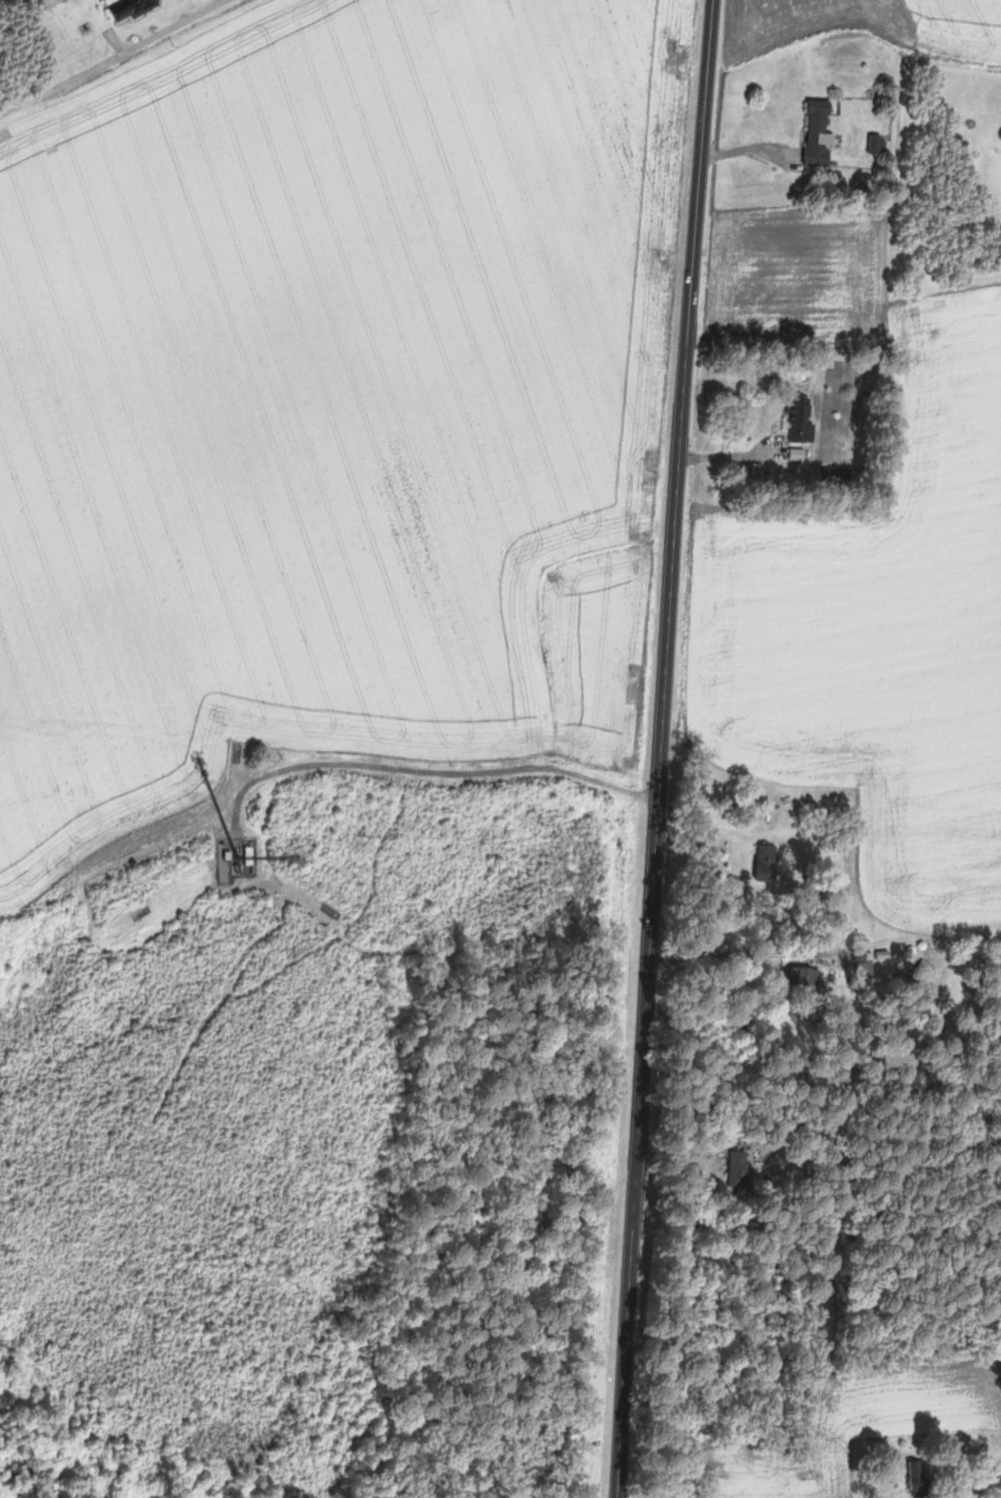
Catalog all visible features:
building: (55, 2)
building: (129, 8)
road: (120, 59)
building: (821, 134)
building: (877, 144)
road: (745, 149)
building: (803, 418)
building: (843, 476)
road: (659, 748)
road: (433, 769)
building: (771, 861)
building: (241, 864)
building: (867, 963)
building: (807, 975)
building: (741, 1169)
building: (985, 1461)
building: (920, 1477)

